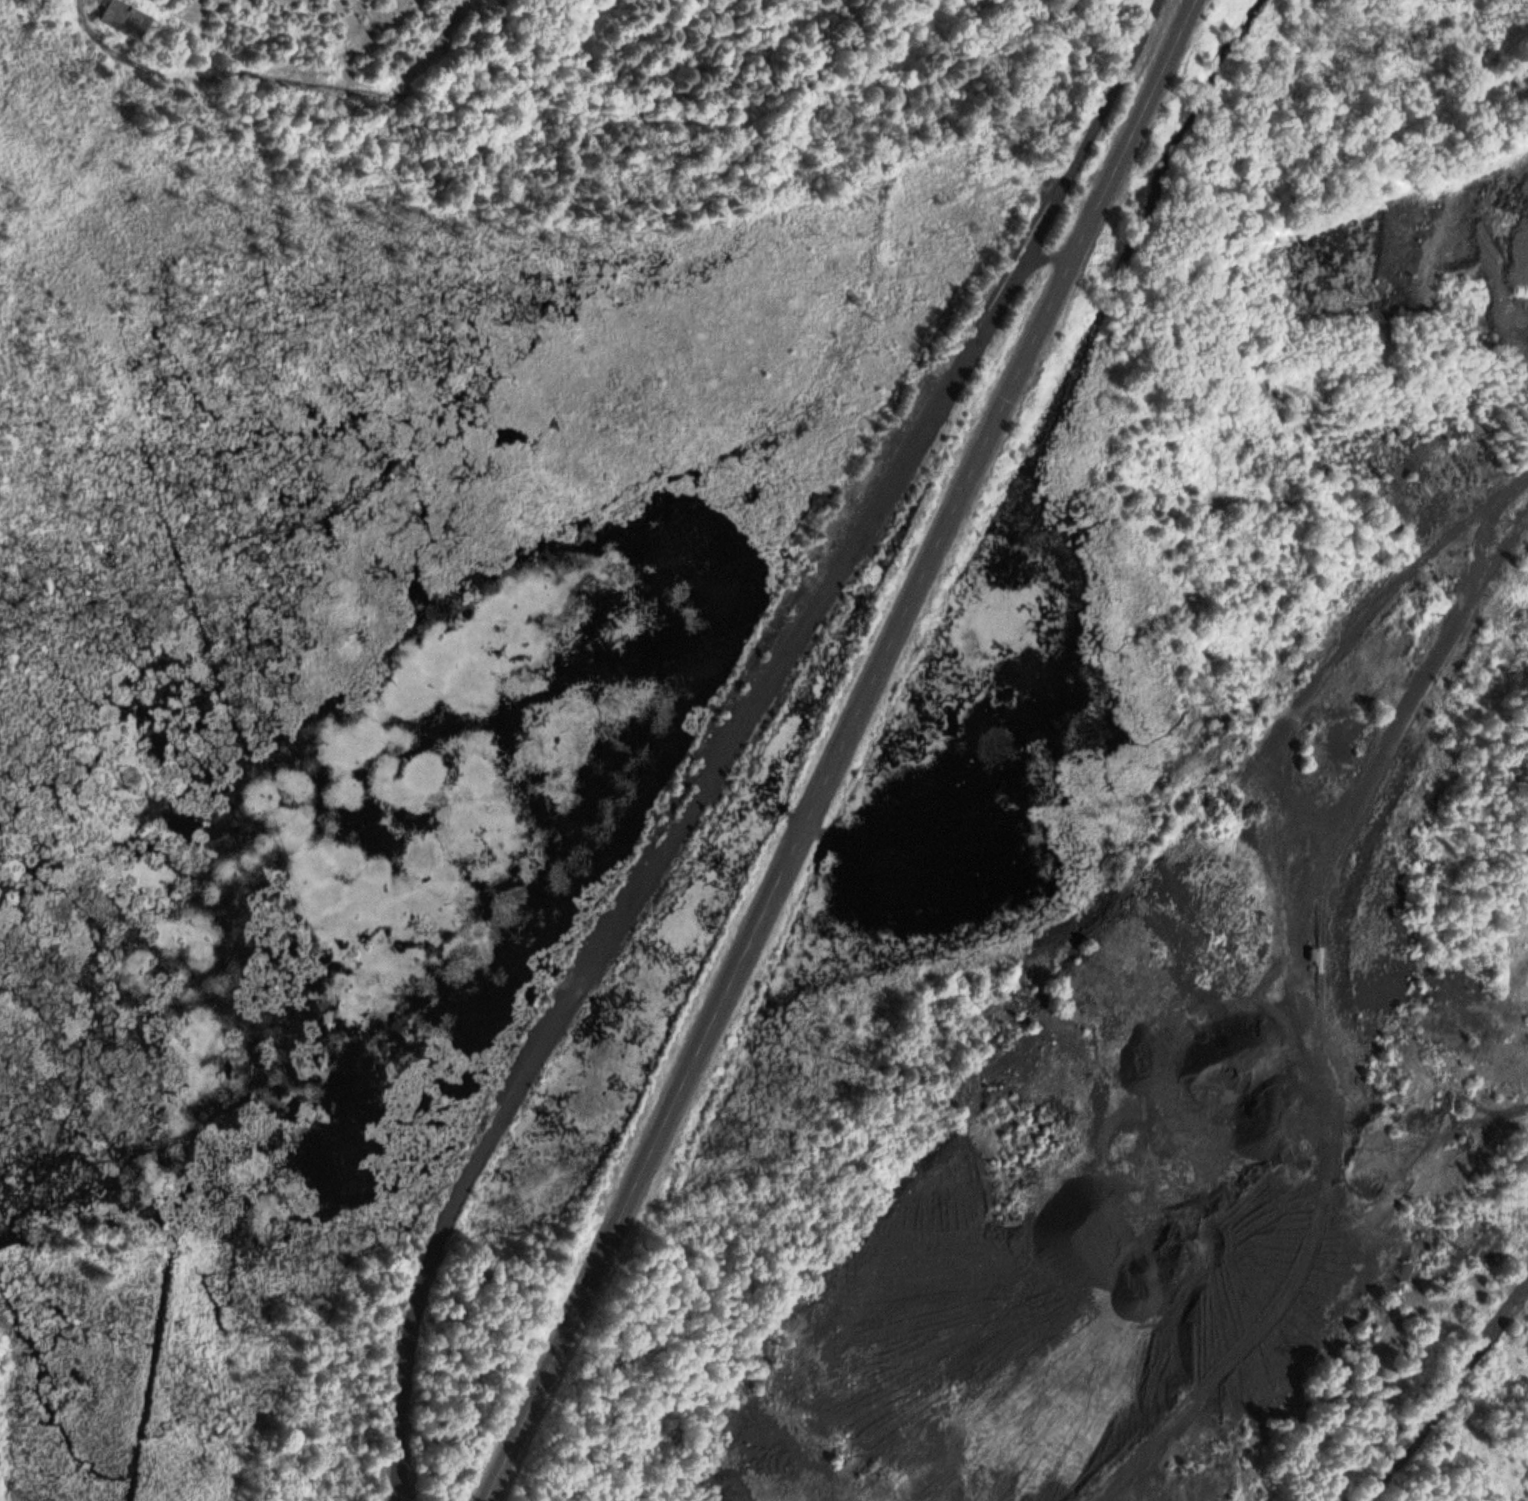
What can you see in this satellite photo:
building: (124, 18)
road: (742, 739)
road: (845, 752)
road: (1447, 1394)

